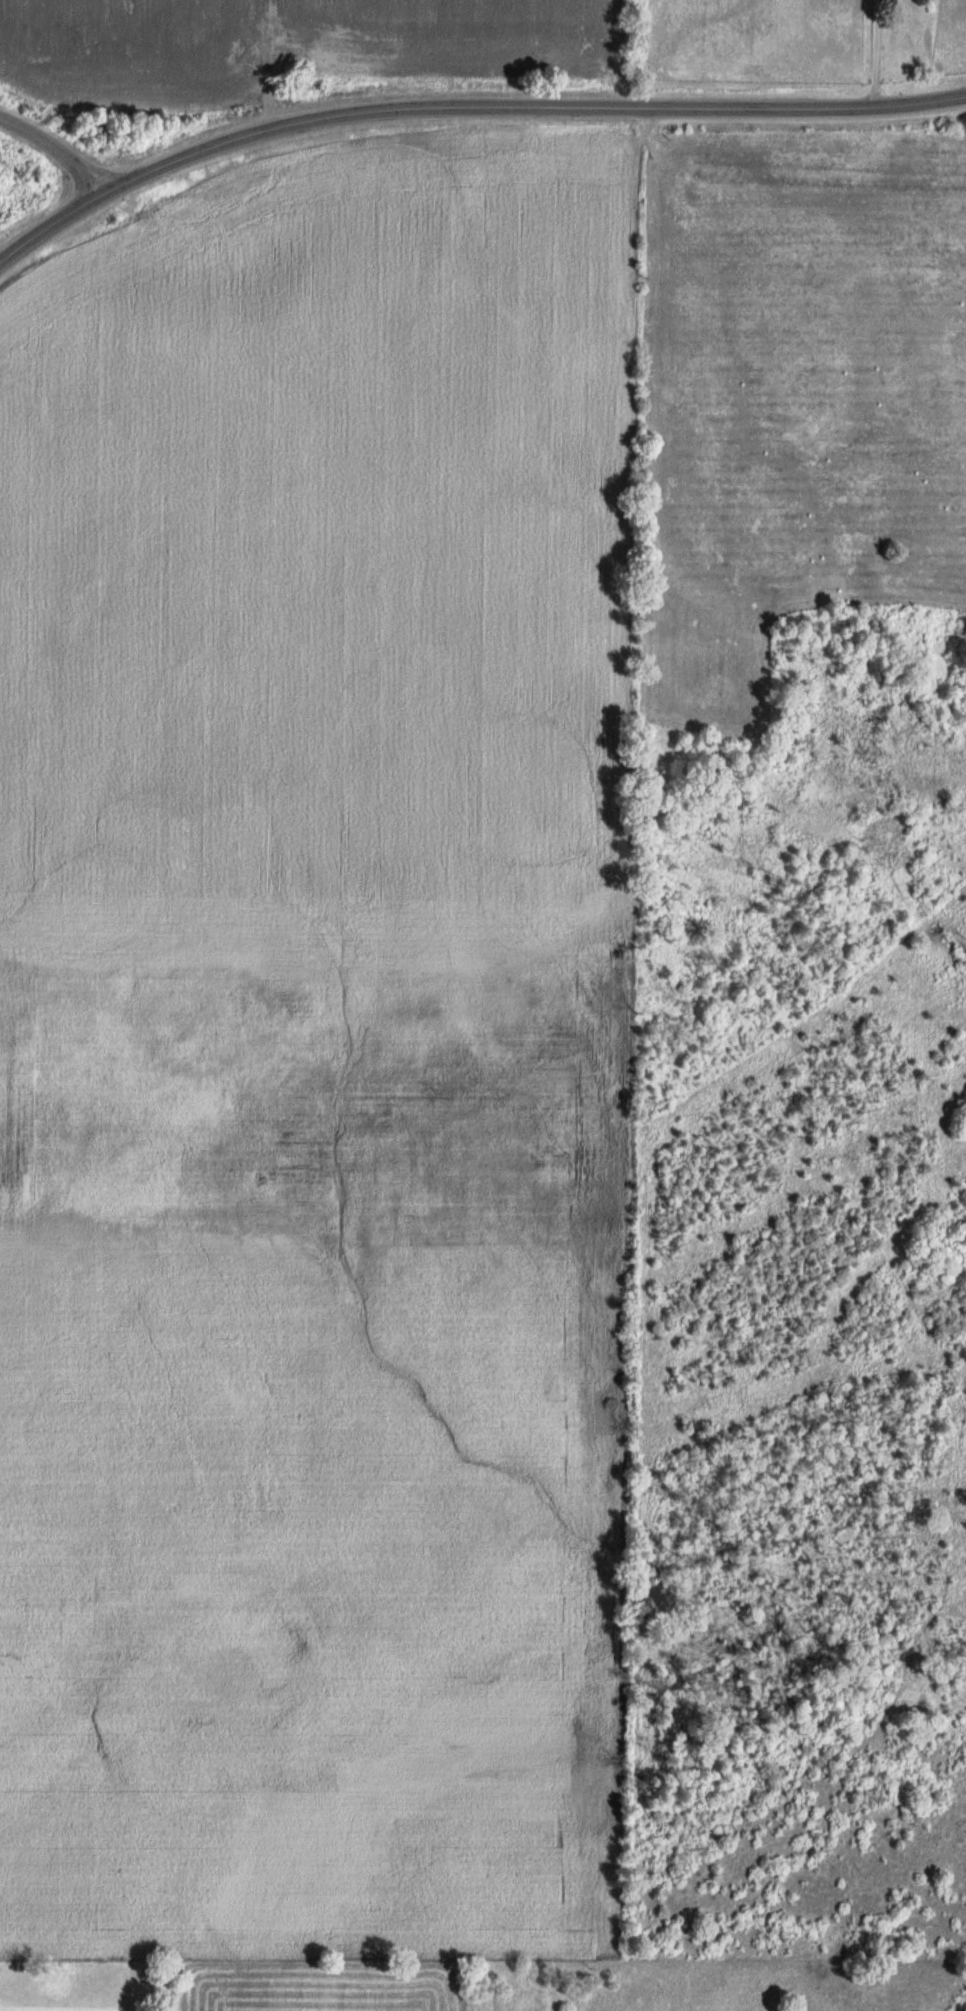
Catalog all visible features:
road: (862, 54)
road: (465, 105)
road: (57, 151)

